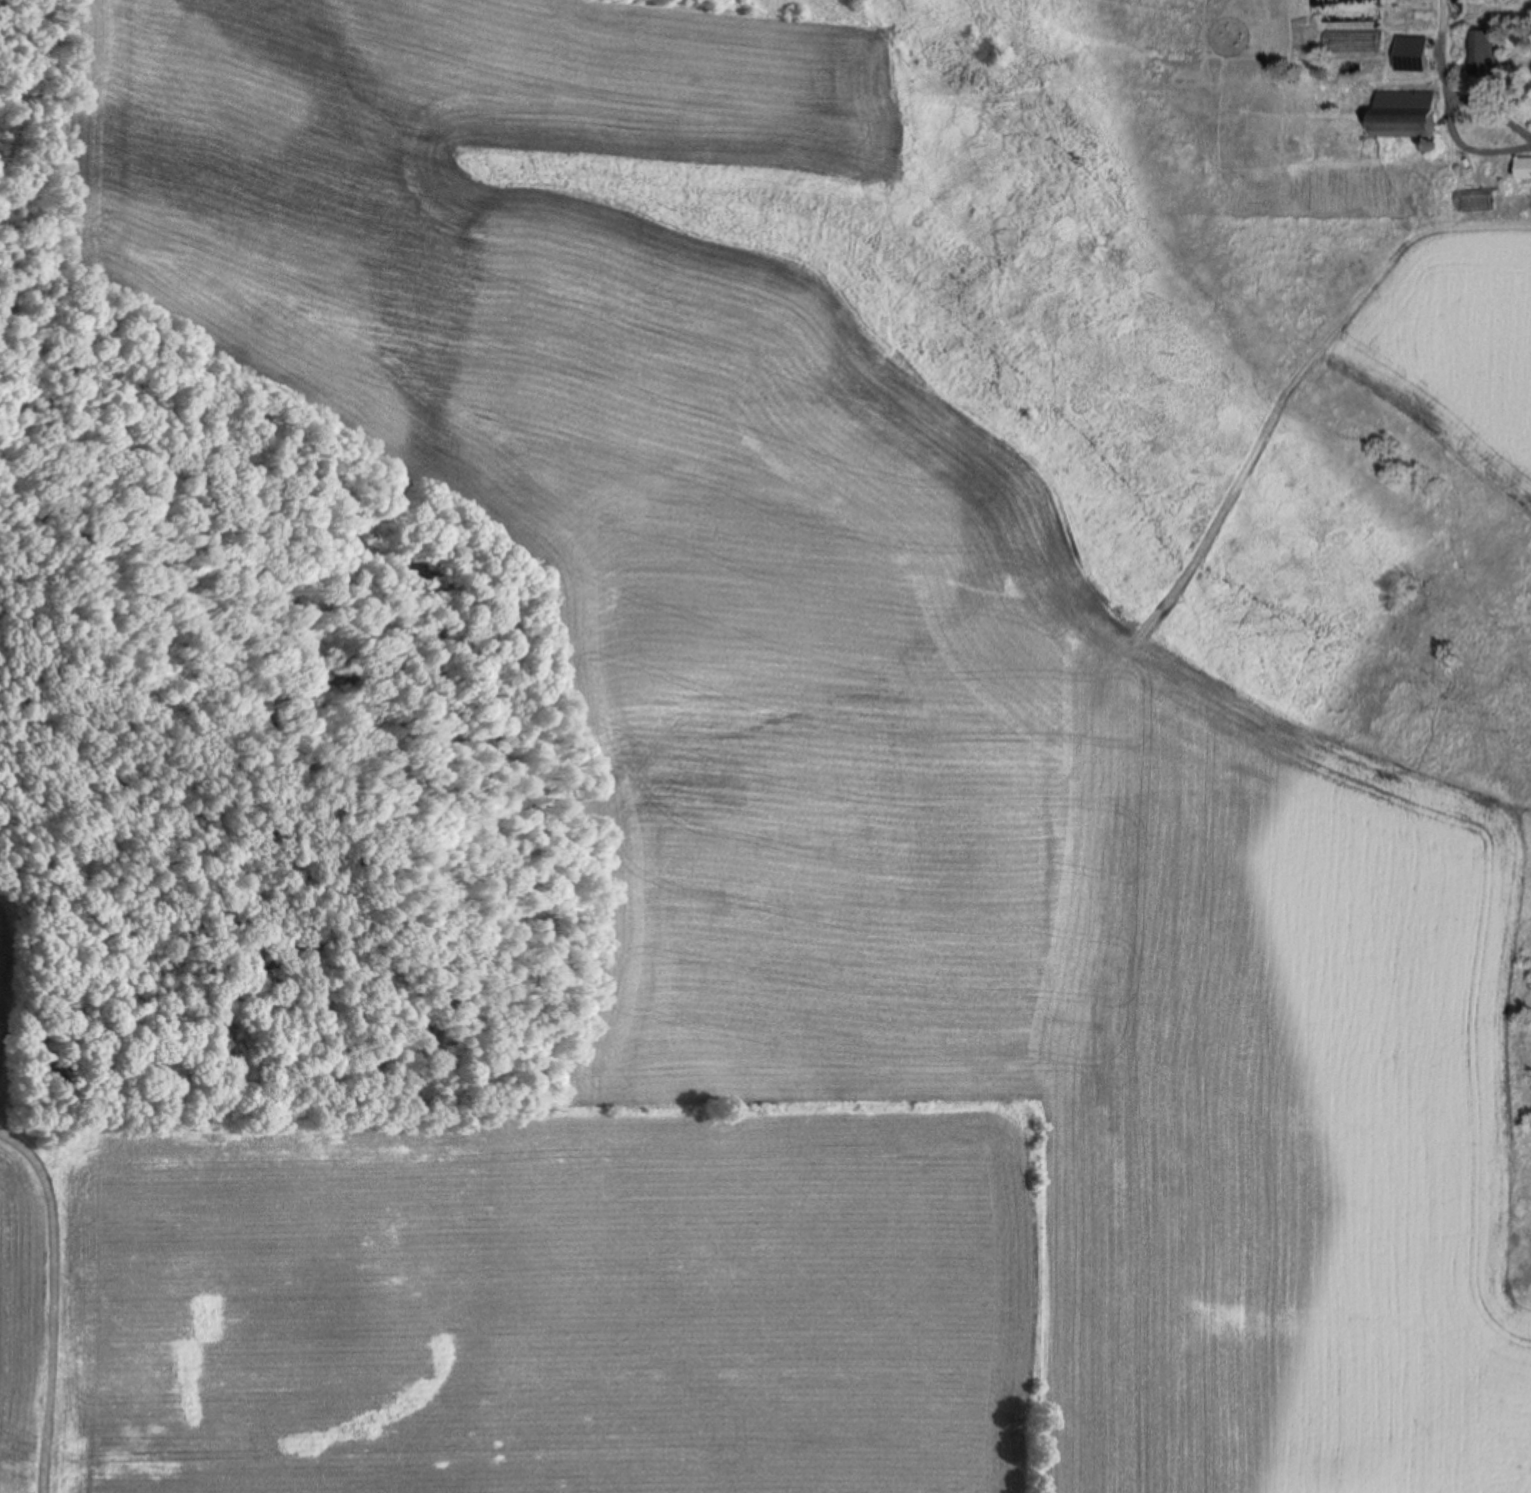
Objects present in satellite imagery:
building: (1484, 52)
road: (1452, 104)
building: (1405, 113)
building: (1523, 167)
crop: (1486, 343)
crop: (775, 890)

